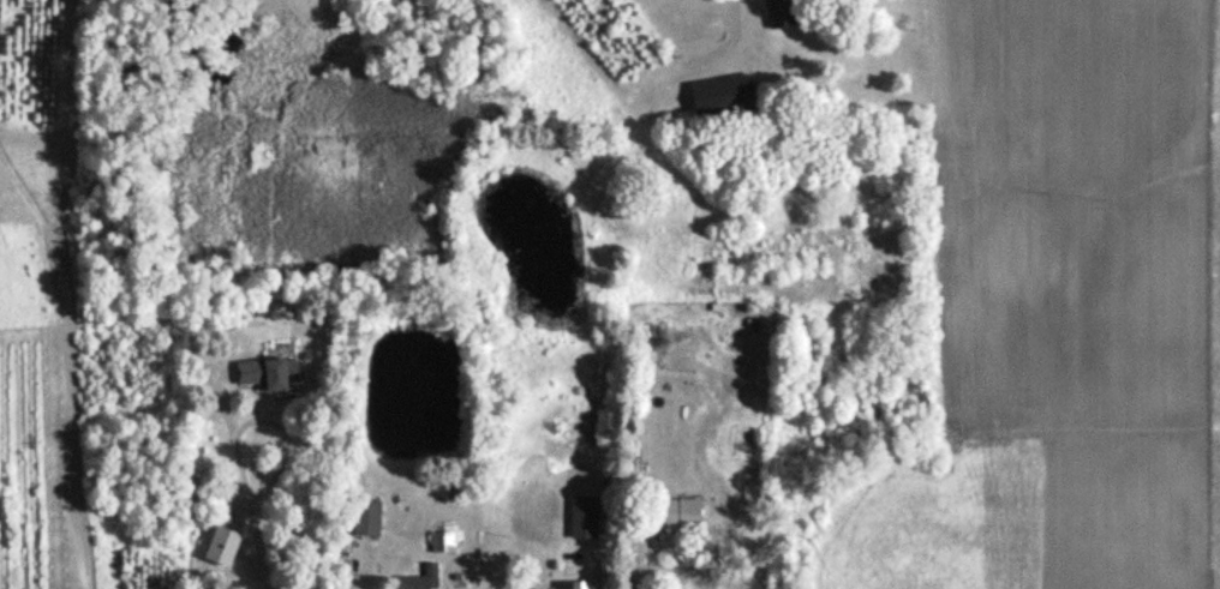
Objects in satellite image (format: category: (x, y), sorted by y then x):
building: (777, 13)
road: (708, 16)
building: (719, 95)
building: (265, 374)
building: (664, 517)
building: (364, 519)
building: (439, 542)
road: (704, 571)
road: (591, 573)
building: (417, 579)
building: (568, 585)

